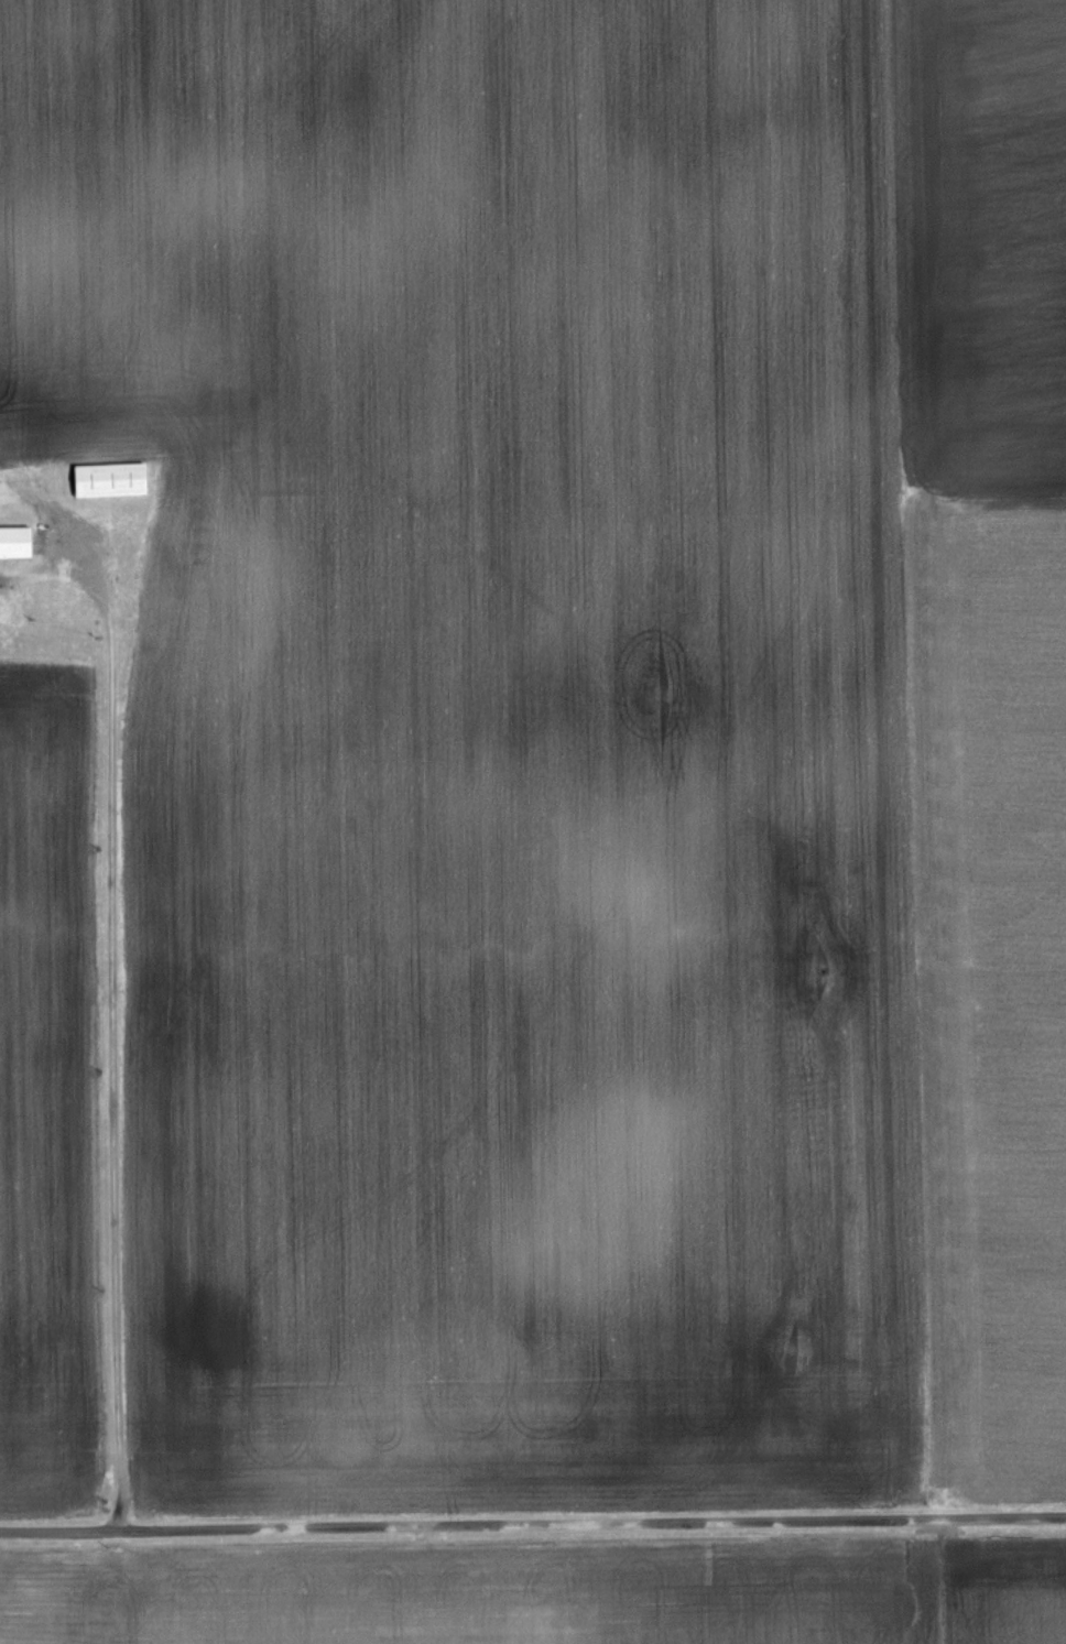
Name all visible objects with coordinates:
crop: (575, 731)
road: (111, 1044)
crop: (47, 1093)
road: (532, 1532)
crop: (547, 1594)

